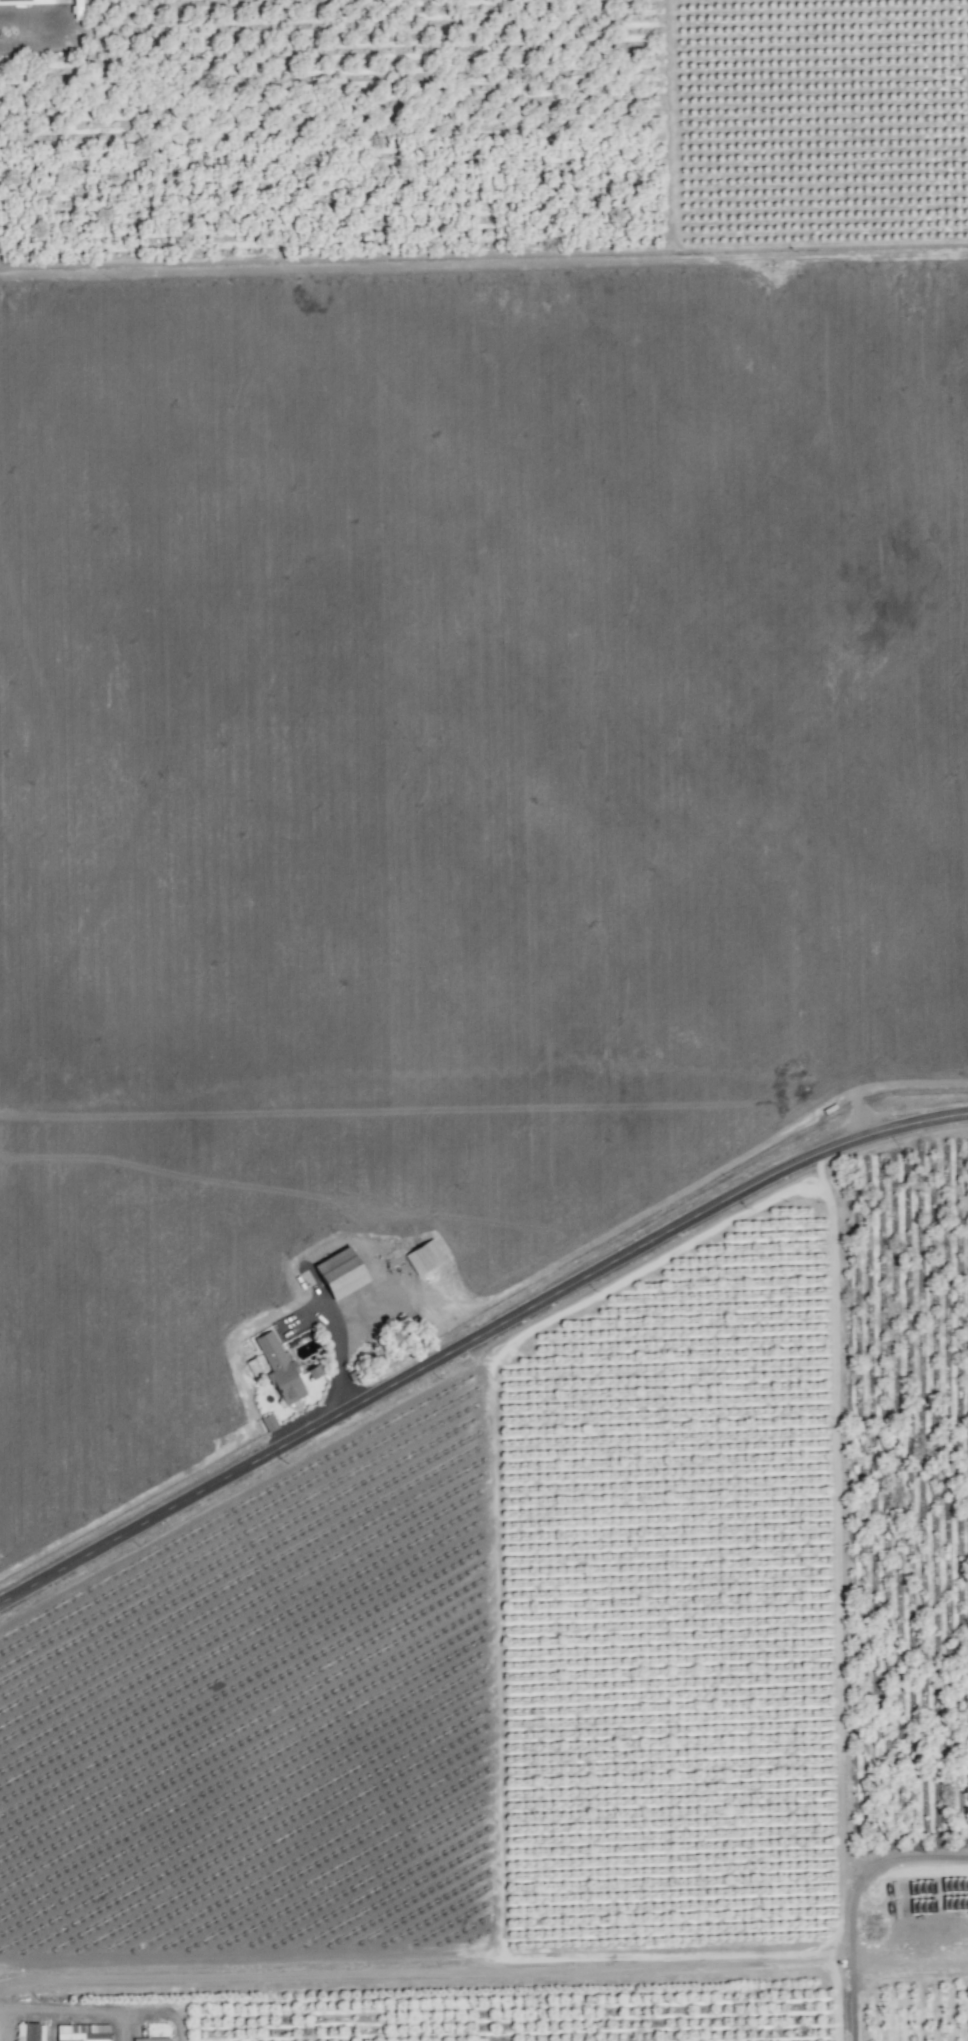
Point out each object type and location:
building: (23, 1)
road: (36, 22)
building: (423, 1256)
building: (337, 1274)
road: (336, 1331)
road: (475, 1334)
building: (278, 1369)
building: (311, 1372)
building: (267, 1422)
road: (859, 1906)
road: (2, 2005)
building: (29, 2031)
building: (81, 2032)
building: (150, 2039)

